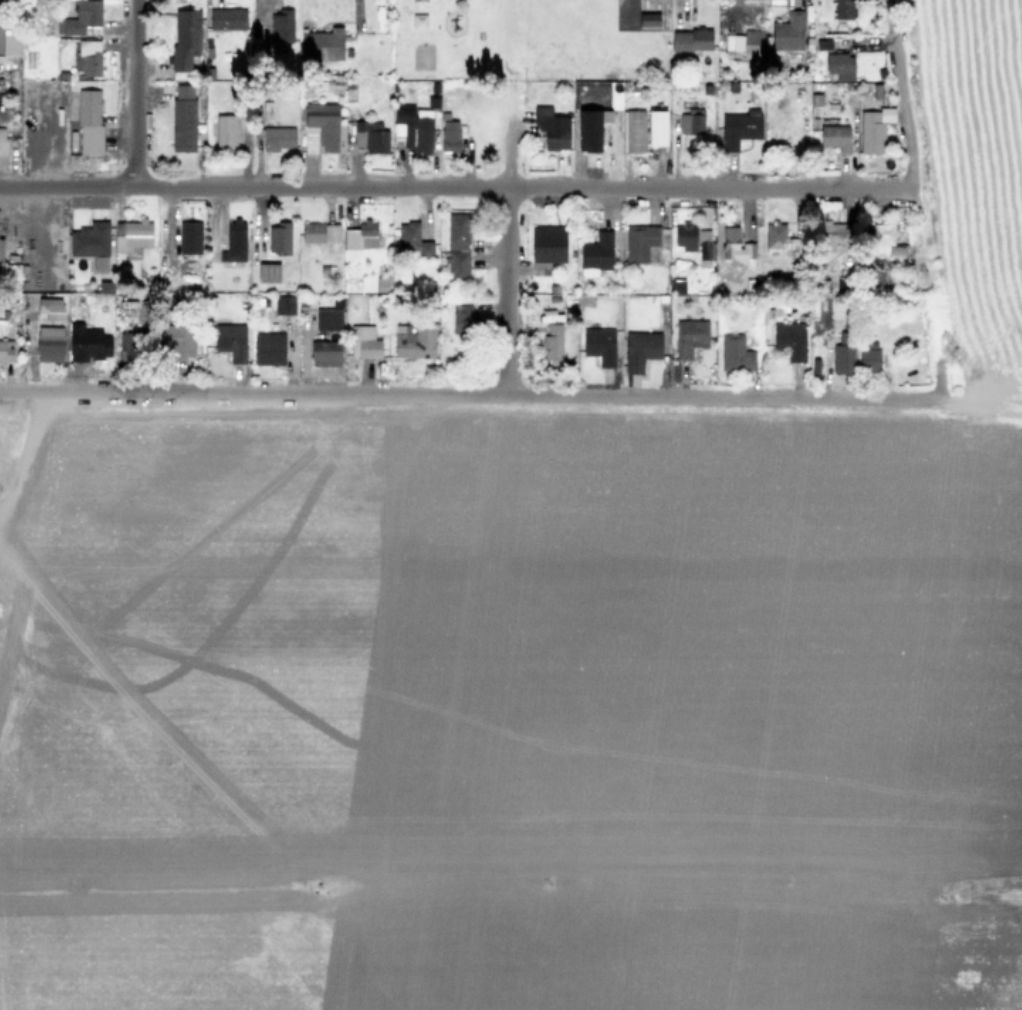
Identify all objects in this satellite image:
building: (417, 0)
building: (843, 9)
building: (81, 18)
building: (227, 18)
building: (648, 19)
building: (282, 25)
building: (788, 31)
building: (185, 39)
park: (514, 39)
building: (691, 39)
building: (11, 42)
building: (749, 43)
building: (322, 44)
building: (88, 57)
building: (839, 61)
building: (844, 75)
road: (134, 93)
road: (899, 93)
building: (183, 117)
building: (89, 121)
building: (691, 121)
building: (325, 124)
building: (552, 127)
building: (656, 127)
building: (740, 127)
building: (414, 128)
building: (873, 128)
building: (589, 130)
building: (633, 130)
building: (225, 132)
road: (506, 133)
building: (449, 135)
building: (370, 136)
building: (835, 137)
building: (277, 138)
building: (2, 144)
road: (456, 186)
building: (320, 232)
building: (835, 232)
building: (131, 235)
building: (361, 235)
building: (685, 235)
building: (190, 237)
building: (279, 237)
building: (781, 238)
building: (235, 240)
building: (884, 240)
building: (412, 241)
building: (640, 241)
building: (91, 243)
building: (548, 243)
building: (705, 244)
building: (735, 244)
building: (458, 246)
building: (0, 250)
building: (597, 252)
building: (268, 272)
building: (381, 283)
building: (678, 285)
road: (504, 291)
building: (284, 304)
building: (49, 309)
building: (462, 318)
building: (328, 319)
building: (103, 330)
building: (690, 336)
building: (49, 339)
building: (790, 339)
building: (177, 340)
building: (414, 340)
building: (230, 341)
building: (364, 341)
building: (552, 342)
building: (600, 345)
building: (128, 346)
building: (268, 348)
building: (640, 349)
building: (6, 350)
building: (325, 352)
building: (735, 353)
building: (842, 355)
building: (868, 356)
road: (463, 395)
road: (24, 451)
crop: (523, 705)

